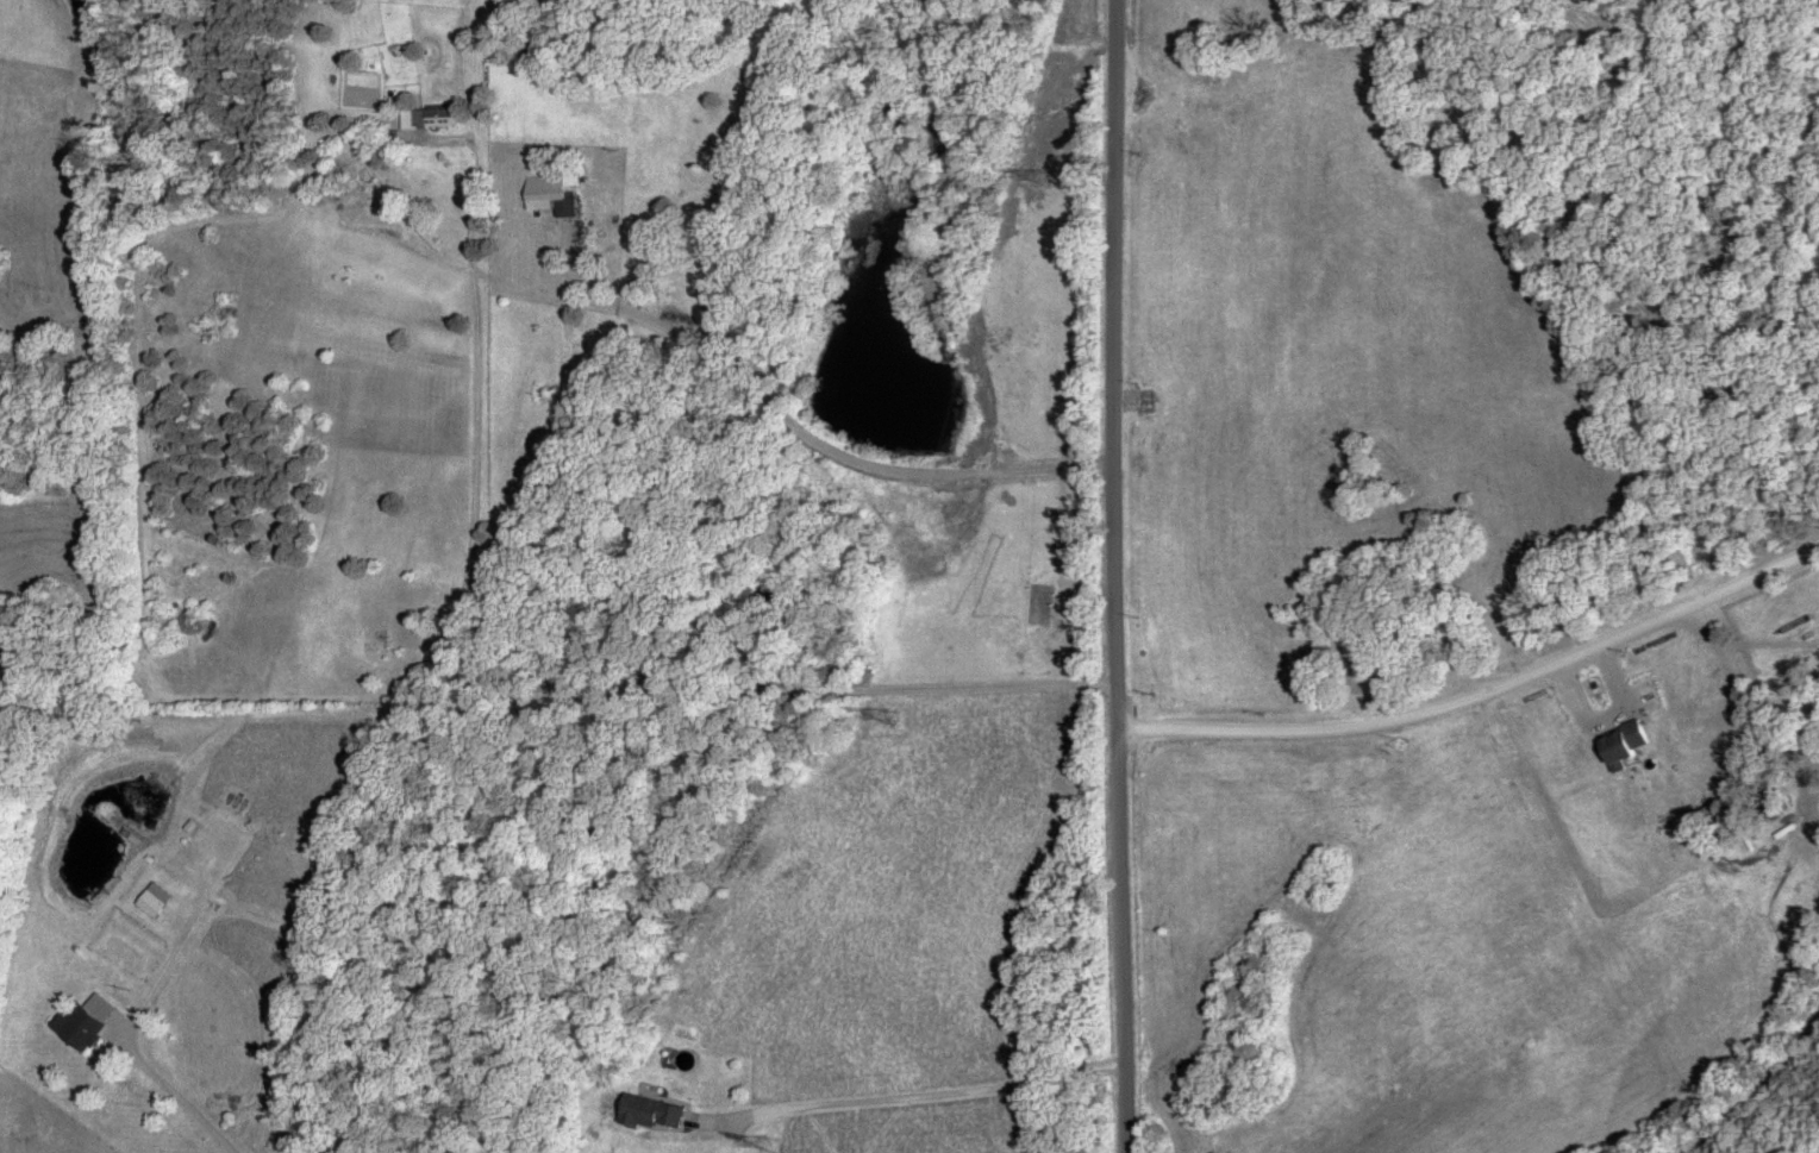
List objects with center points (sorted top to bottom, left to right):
building: (438, 115)
building: (555, 190)
road: (742, 415)
road: (1114, 576)
road: (1476, 685)
building: (155, 902)
building: (86, 1027)
road: (911, 1090)
building: (654, 1111)

